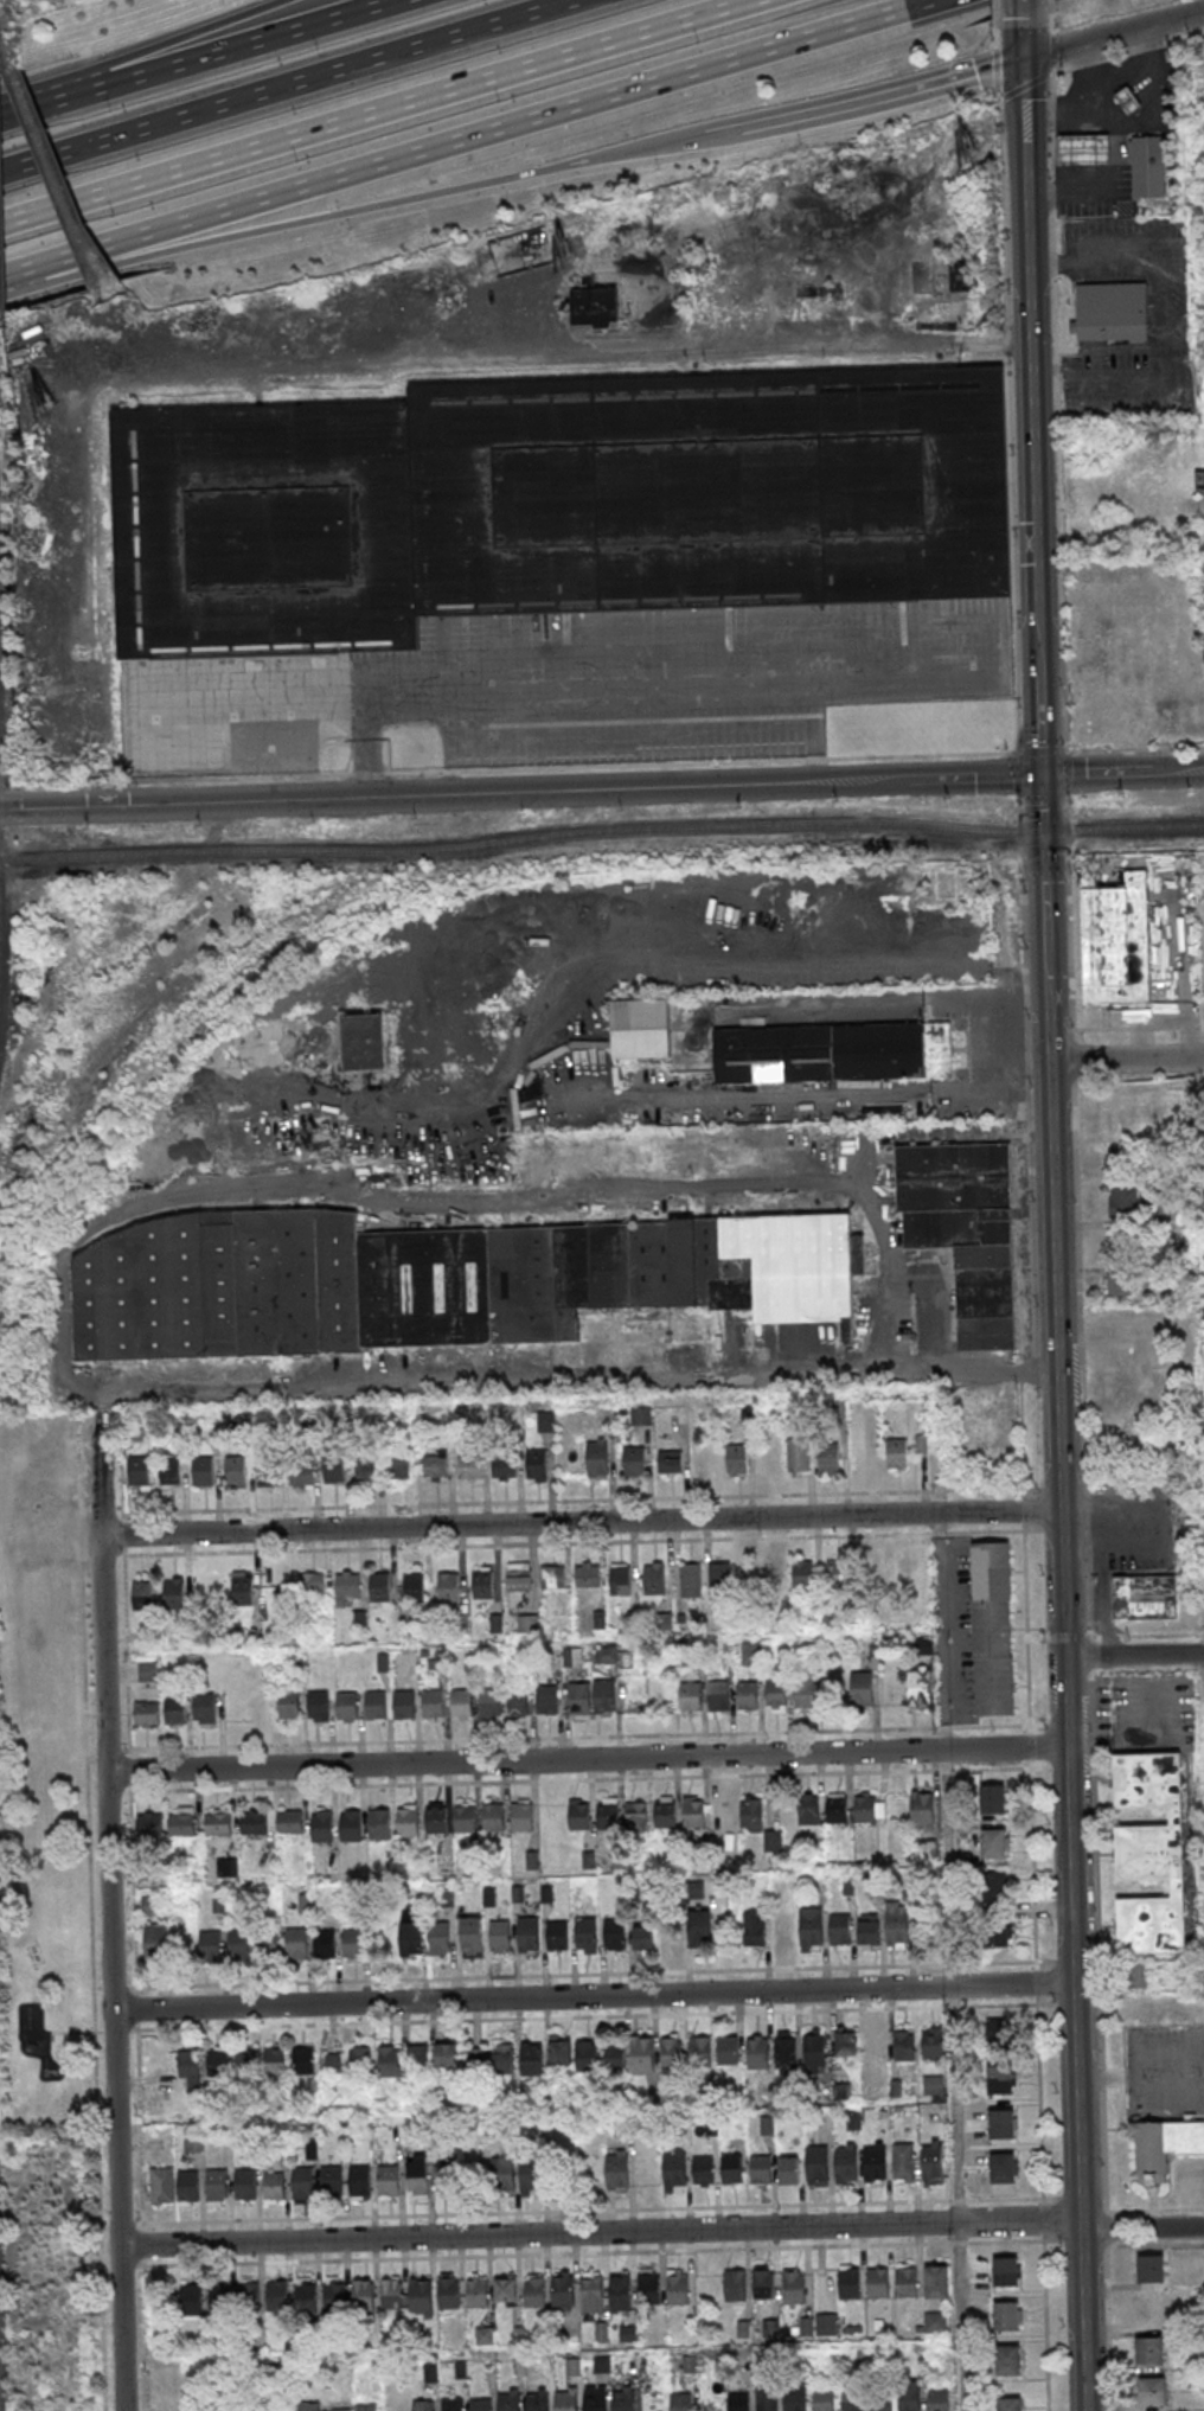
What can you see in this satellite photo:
road: (1022, 9)
road: (993, 12)
road: (1113, 34)
road: (180, 50)
road: (236, 52)
traffic signals: (1023, 59)
road: (290, 88)
road: (1025, 88)
road: (883, 98)
building: (1129, 103)
road: (1094, 111)
road: (32, 113)
road: (379, 115)
road: (1112, 119)
road: (710, 135)
road: (488, 136)
road: (1123, 140)
building: (1085, 153)
building: (1149, 168)
road: (350, 211)
road: (11, 269)
building: (960, 276)
building: (595, 307)
building: (1110, 312)
road: (1030, 333)
road: (1056, 334)
road: (1008, 385)
building: (553, 507)
road: (1040, 711)
road: (1135, 749)
road: (1185, 770)
road: (1104, 773)
road: (1018, 774)
road: (1067, 774)
traffic signals: (1043, 775)
road: (980, 778)
road: (457, 794)
road: (1043, 827)
railway: (601, 831)
railway: (474, 851)
traffic signals: (1045, 882)
building: (1116, 941)
road: (985, 992)
road: (1138, 1028)
building: (641, 1032)
building: (363, 1042)
building: (833, 1055)
road: (692, 1056)
road: (1126, 1060)
road: (1139, 1087)
building: (1134, 1117)
building: (1125, 1202)
building: (966, 1230)
road: (909, 1277)
building: (431, 1280)
building: (1117, 1286)
road: (577, 1386)
building: (641, 1415)
building: (545, 1421)
building: (798, 1454)
building: (897, 1456)
building: (597, 1458)
building: (670, 1460)
building: (828, 1460)
building: (738, 1462)
building: (399, 1464)
building: (435, 1465)
building: (634, 1465)
building: (469, 1466)
building: (537, 1466)
building: (366, 1469)
building: (504, 1469)
building: (139, 1470)
building: (171, 1471)
building: (203, 1471)
building: (236, 1471)
building: (333, 1471)
building: (267, 1473)
building: (301, 1476)
road: (574, 1502)
road: (581, 1523)
road: (1099, 1524)
road: (575, 1545)
building: (587, 1574)
building: (552, 1575)
building: (518, 1577)
building: (907, 1577)
building: (803, 1578)
building: (838, 1578)
building: (773, 1579)
building: (719, 1580)
building: (313, 1582)
building: (692, 1582)
building: (654, 1584)
building: (346, 1585)
building: (620, 1585)
building: (483, 1588)
building: (380, 1591)
building: (449, 1591)
building: (415, 1592)
building: (244, 1594)
building: (1145, 1597)
building: (174, 1598)
building: (145, 1599)
road: (1026, 1601)
road: (1102, 1603)
building: (993, 1629)
road: (943, 1631)
road: (127, 1632)
road: (1064, 1646)
road: (1134, 1655)
building: (572, 1657)
building: (147, 1673)
building: (918, 1686)
building: (862, 1693)
building: (805, 1694)
building: (719, 1696)
building: (604, 1697)
building: (776, 1697)
building: (748, 1700)
building: (691, 1701)
building: (579, 1702)
building: (547, 1703)
building: (518, 1705)
building: (489, 1707)
building: (434, 1708)
building: (462, 1708)
building: (290, 1709)
building: (320, 1709)
building: (348, 1709)
building: (377, 1709)
building: (405, 1709)
building: (206, 1712)
building: (146, 1714)
building: (177, 1715)
road: (581, 1739)
road: (587, 1760)
road: (561, 1782)
park: (43, 1790)
building: (993, 1799)
building: (922, 1809)
building: (808, 1814)
building: (837, 1814)
building: (866, 1814)
building: (579, 1817)
building: (608, 1817)
building: (693, 1817)
building: (723, 1817)
building: (666, 1818)
building: (751, 1818)
building: (636, 1820)
building: (217, 1822)
building: (255, 1822)
building: (289, 1822)
building: (437, 1822)
building: (493, 1822)
building: (523, 1822)
building: (181, 1823)
building: (465, 1823)
building: (409, 1825)
building: (149, 1827)
building: (380, 1828)
building: (352, 1830)
building: (324, 1831)
building: (993, 1844)
building: (1151, 1853)
building: (532, 1860)
building: (230, 1867)
road: (949, 1868)
building: (995, 1886)
road: (110, 1905)
building: (149, 1906)
building: (897, 1924)
building: (754, 1929)
building: (782, 1929)
building: (811, 1929)
building: (840, 1929)
building: (700, 1930)
building: (869, 1931)
building: (529, 1933)
building: (998, 1933)
building: (670, 1936)
building: (410, 1938)
building: (470, 1938)
building: (587, 1938)
building: (615, 1938)
building: (643, 1938)
building: (500, 1939)
building: (557, 1940)
building: (156, 1942)
building: (441, 1942)
building: (268, 1943)
building: (238, 1944)
building: (297, 1944)
building: (356, 1946)
building: (210, 1948)
building: (326, 1948)
road: (587, 1975)
building: (1141, 1977)
road: (594, 1996)
road: (566, 2019)
building: (1000, 2044)
building: (846, 2045)
building: (933, 2049)
building: (559, 2051)
building: (876, 2051)
building: (904, 2051)
building: (614, 2055)
building: (642, 2055)
building: (814, 2055)
building: (446, 2057)
building: (700, 2057)
building: (729, 2057)
building: (787, 2057)
building: (492, 2058)
building: (672, 2058)
building: (758, 2058)
building: (532, 2059)
building: (302, 2060)
building: (587, 2060)
building: (274, 2061)
building: (350, 2061)
building: (389, 2061)
building: (417, 2061)
building: (246, 2063)
building: (216, 2064)
building: (190, 2070)
building: (933, 2085)
building: (1000, 2086)
road: (955, 2103)
building: (1003, 2132)
building: (192, 2142)
building: (1164, 2147)
building: (903, 2161)
building: (846, 2162)
building: (875, 2162)
building: (931, 2162)
building: (816, 2164)
building: (674, 2168)
building: (616, 2169)
building: (703, 2170)
building: (731, 2170)
building: (760, 2170)
building: (788, 2170)
building: (502, 2174)
building: (448, 2175)
building: (533, 2175)
building: (1004, 2176)
building: (388, 2179)
building: (417, 2179)
building: (332, 2180)
building: (359, 2180)
building: (302, 2181)
building: (245, 2183)
building: (161, 2185)
building: (217, 2185)
building: (187, 2186)
building: (274, 2186)
road: (495, 2212)
road: (1142, 2228)
road: (602, 2231)
road: (521, 2255)
building: (1151, 2269)
building: (1006, 2271)
building: (905, 2281)
building: (937, 2281)
building: (878, 2282)
building: (764, 2283)
building: (850, 2283)
building: (735, 2284)
building: (648, 2285)
building: (793, 2288)
building: (506, 2289)
building: (678, 2289)
building: (533, 2290)
building: (563, 2290)
building: (391, 2292)
building: (449, 2292)
building: (478, 2292)
building: (591, 2292)
building: (250, 2294)
building: (364, 2294)
building: (421, 2294)
building: (620, 2294)
building: (277, 2295)
building: (306, 2295)
building: (334, 2297)
building: (191, 2298)
building: (220, 2298)
building: (1149, 2311)
building: (1007, 2316)
building: (935, 2322)
building: (826, 2324)
building: (1149, 2351)
building: (1008, 2361)
building: (638, 2366)
building: (1153, 2391)
building: (795, 2397)
building: (822, 2397)
building: (909, 2397)
building: (767, 2398)
building: (852, 2399)
building: (939, 2399)
building: (565, 2400)
building: (595, 2400)
building: (623, 2400)
building: (681, 2400)
building: (510, 2402)
building: (538, 2402)
building: (738, 2402)
building: (423, 2404)
building: (451, 2404)
building: (481, 2404)
building: (880, 2404)
building: (1008, 2404)
building: (309, 2406)
building: (366, 2406)
building: (338, 2410)

